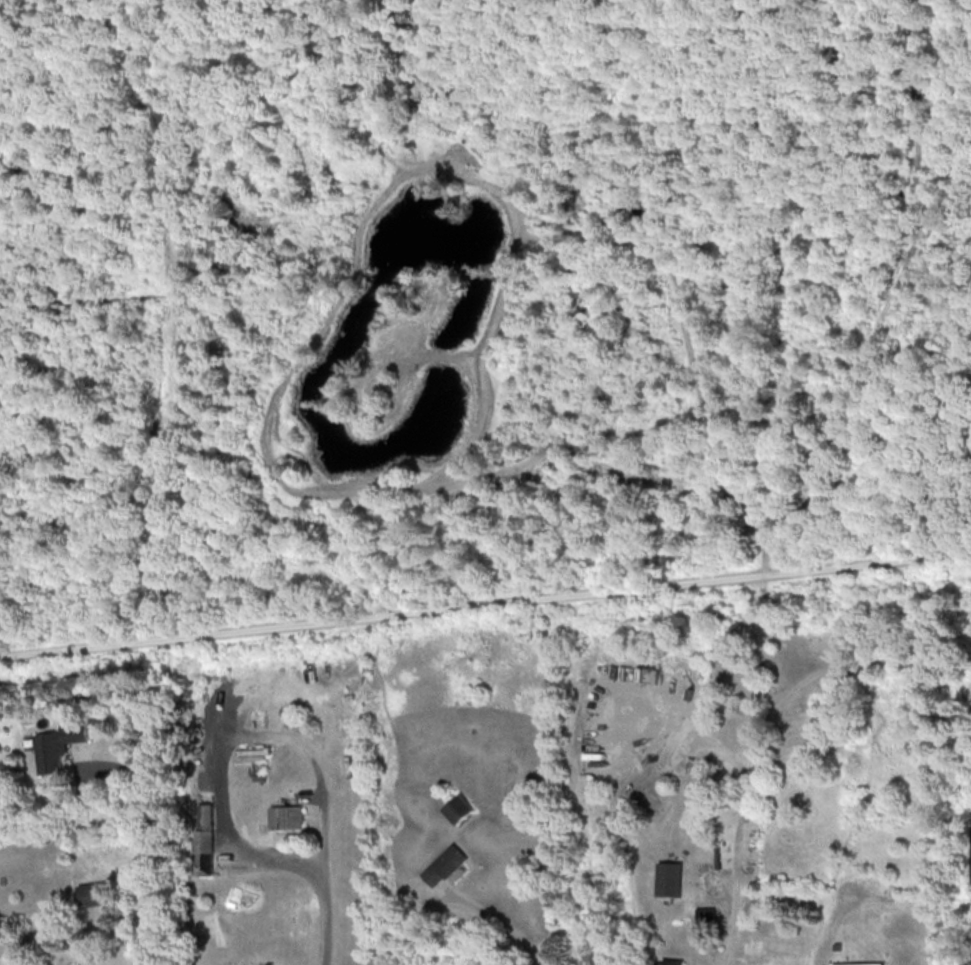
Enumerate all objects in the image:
park: (480, 601)
road: (485, 605)
road: (232, 744)
building: (56, 746)
building: (457, 808)
building: (284, 817)
building: (202, 841)
road: (163, 849)
building: (442, 865)
building: (668, 878)
building: (93, 894)
road: (498, 918)
road: (326, 921)
building: (669, 962)
building: (859, 963)

